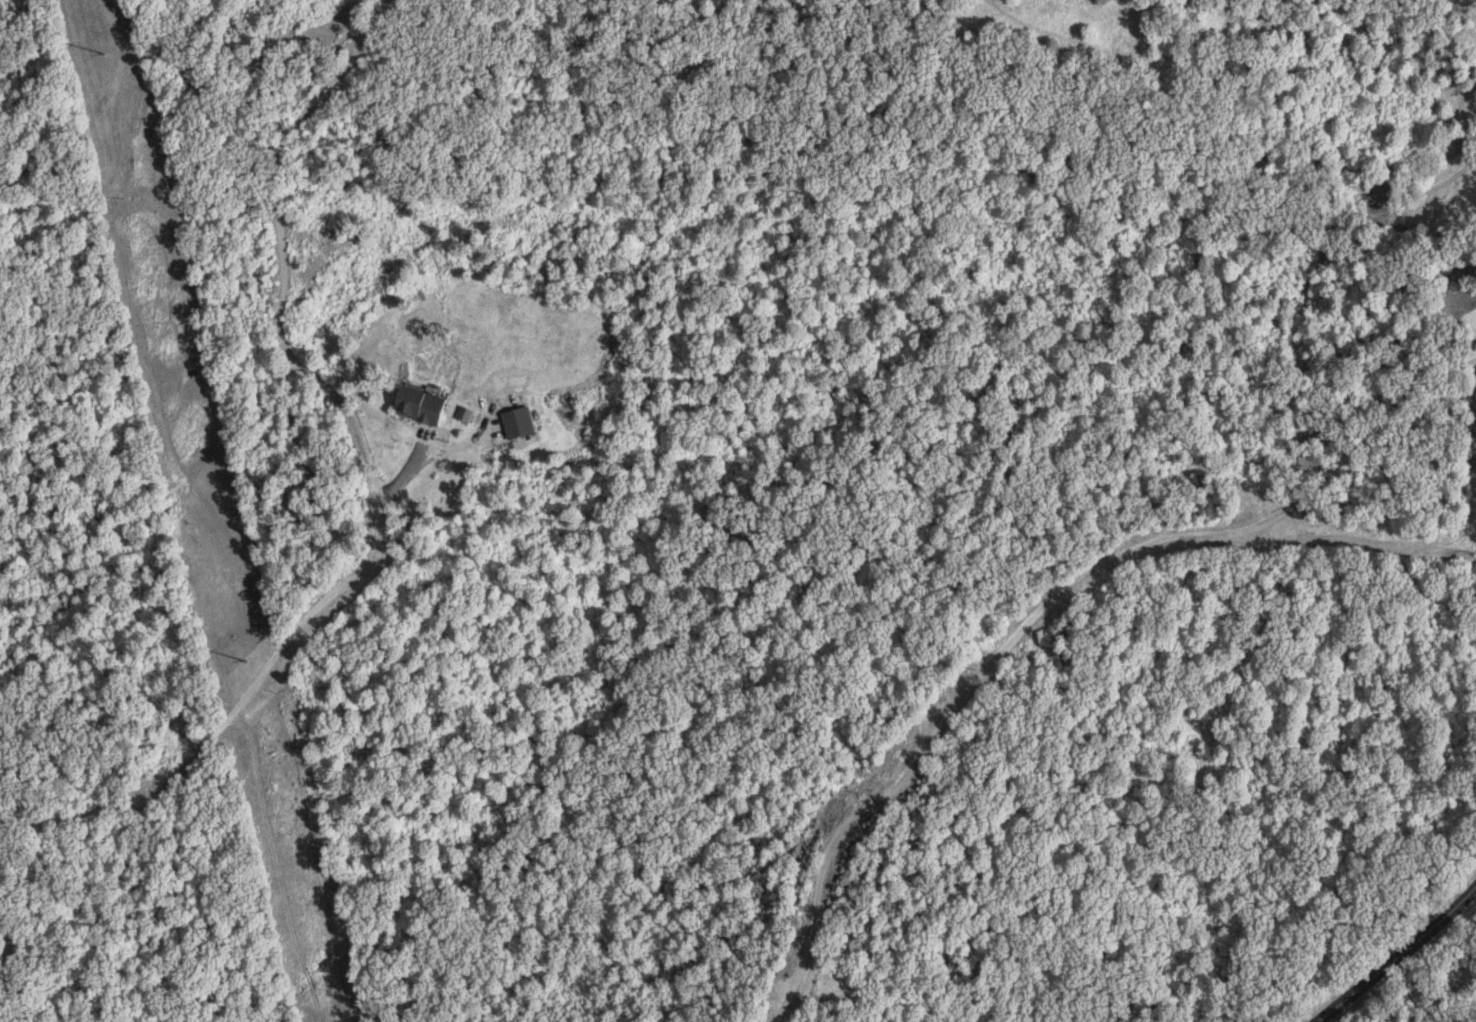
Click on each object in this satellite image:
building: (423, 406)
road: (1379, 434)
road: (362, 568)
road: (971, 694)
road: (1395, 952)

